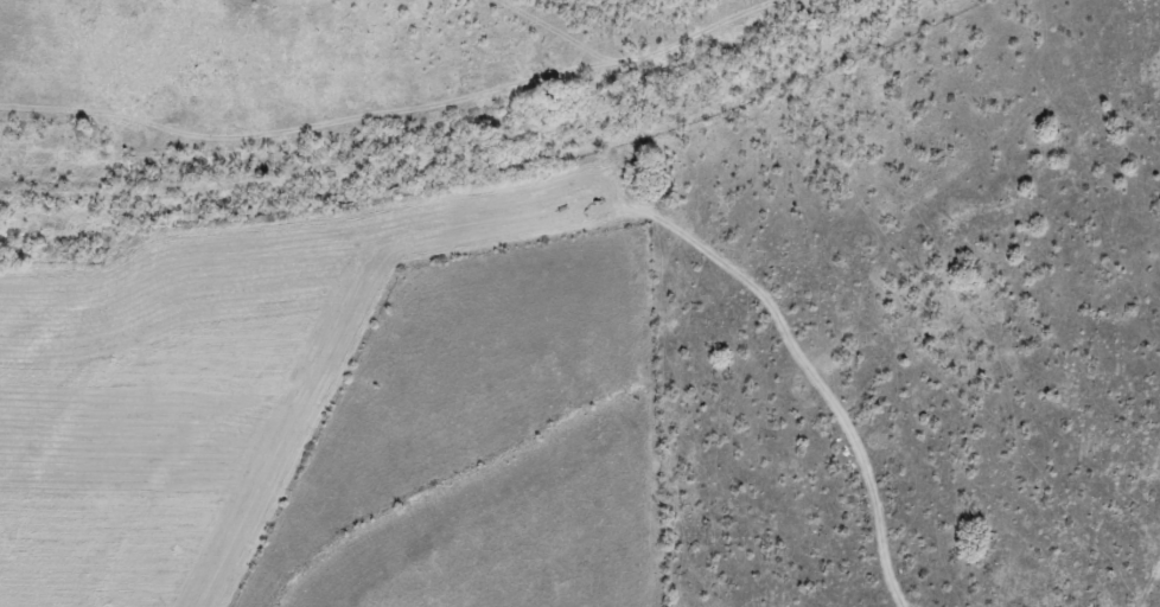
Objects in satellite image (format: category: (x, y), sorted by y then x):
railway: (457, 141)

